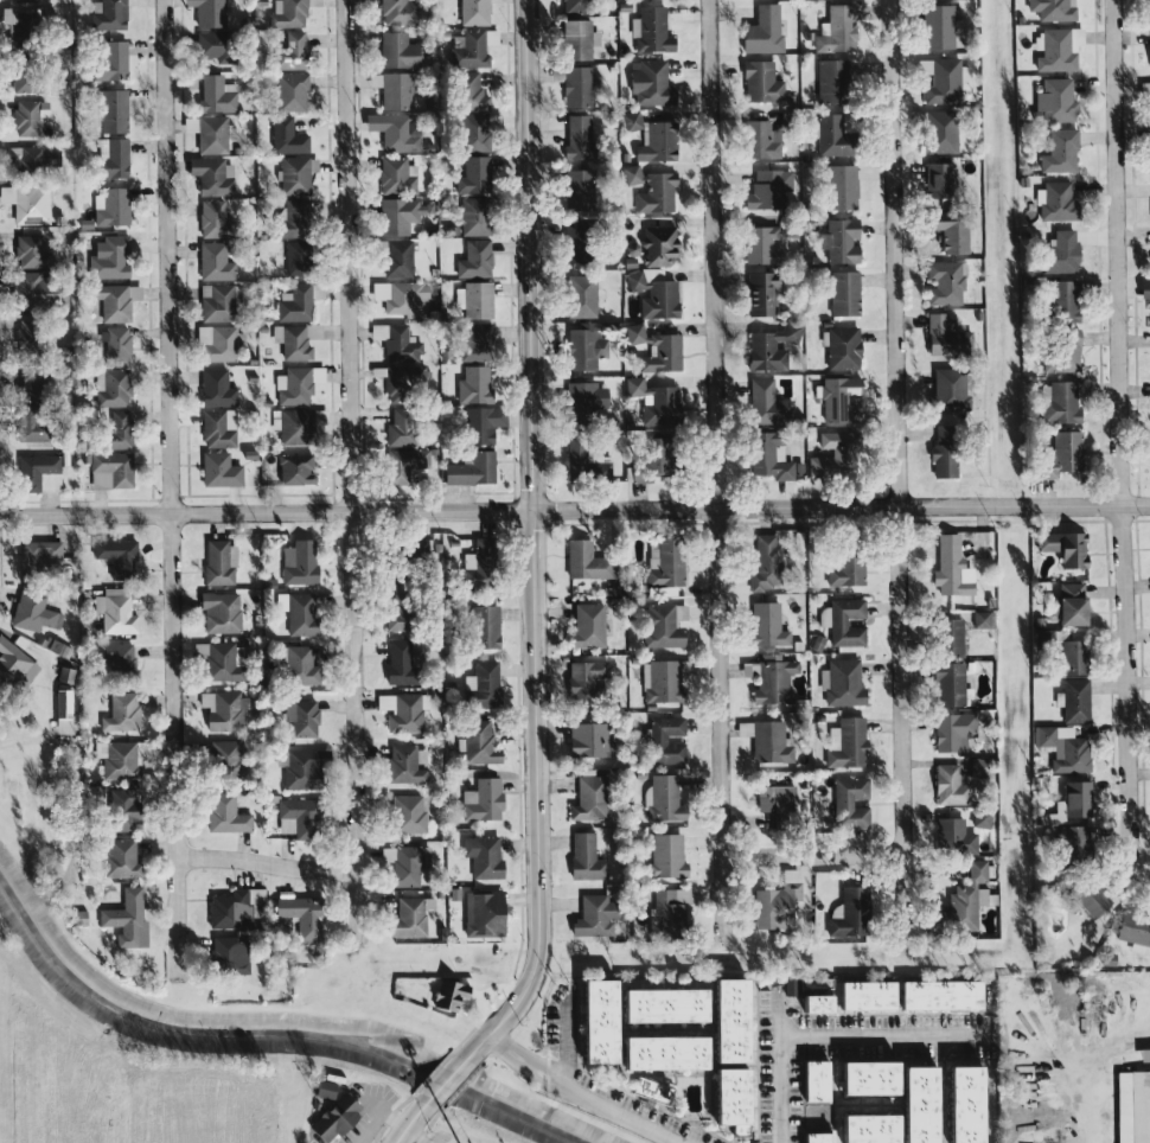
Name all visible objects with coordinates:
building: (20, 0)
building: (574, 6)
building: (1052, 8)
building: (1148, 8)
building: (397, 11)
building: (205, 12)
building: (288, 12)
building: (471, 12)
building: (106, 14)
building: (12, 23)
building: (935, 25)
building: (837, 27)
building: (649, 30)
building: (761, 30)
building: (574, 39)
building: (209, 44)
building: (469, 46)
building: (1149, 46)
building: (391, 49)
building: (287, 51)
building: (108, 62)
building: (830, 79)
building: (939, 81)
building: (647, 82)
building: (759, 82)
building: (575, 85)
building: (391, 89)
building: (466, 90)
building: (289, 91)
building: (1145, 91)
building: (216, 94)
building: (1054, 100)
building: (110, 110)
building: (26, 115)
building: (937, 130)
building: (206, 132)
building: (471, 132)
building: (829, 133)
building: (397, 134)
building: (285, 136)
building: (575, 136)
building: (759, 139)
building: (654, 142)
building: (1149, 147)
building: (1058, 151)
building: (30, 157)
building: (109, 157)
building: (294, 173)
building: (473, 174)
building: (209, 175)
building: (395, 175)
building: (934, 180)
building: (838, 186)
building: (650, 189)
building: (767, 189)
building: (574, 190)
building: (1053, 200)
building: (28, 204)
building: (109, 206)
building: (395, 215)
building: (472, 216)
building: (290, 217)
building: (211, 218)
building: (946, 230)
building: (838, 240)
building: (762, 243)
building: (573, 245)
building: (657, 245)
building: (26, 250)
building: (1058, 253)
building: (394, 256)
building: (294, 257)
building: (108, 258)
building: (472, 258)
building: (213, 260)
building: (944, 281)
building: (1143, 288)
building: (36, 292)
building: (759, 293)
building: (843, 293)
building: (652, 294)
building: (579, 295)
building: (404, 296)
building: (472, 299)
building: (113, 300)
building: (1060, 300)
building: (216, 301)
building: (294, 302)
building: (376, 331)
building: (943, 337)
building: (294, 338)
building: (472, 340)
building: (216, 341)
building: (113, 343)
building: (398, 344)
building: (582, 347)
building: (768, 347)
building: (842, 347)
building: (654, 349)
building: (1060, 350)
building: (401, 377)
building: (471, 384)
building: (292, 385)
building: (109, 387)
building: (215, 388)
building: (837, 397)
building: (653, 401)
building: (579, 402)
building: (1055, 402)
building: (766, 403)
building: (478, 423)
building: (295, 426)
building: (28, 427)
building: (397, 427)
building: (216, 428)
building: (115, 430)
road: (1122, 439)
building: (831, 453)
building: (1056, 455)
building: (764, 456)
building: (651, 460)
building: (581, 461)
building: (402, 464)
road: (897, 464)
road: (718, 467)
building: (293, 468)
building: (468, 468)
building: (108, 470)
building: (217, 470)
road: (349, 470)
building: (36, 473)
road: (167, 489)
road: (574, 510)
road: (529, 542)
building: (417, 545)
building: (1062, 548)
building: (34, 555)
building: (115, 555)
building: (475, 561)
building: (218, 562)
building: (299, 562)
building: (762, 562)
building: (583, 563)
building: (662, 566)
building: (950, 568)
building: (845, 570)
building: (1065, 605)
building: (114, 611)
building: (218, 611)
building: (31, 612)
building: (299, 613)
building: (394, 617)
building: (978, 619)
building: (767, 622)
building: (662, 624)
building: (483, 626)
building: (584, 626)
building: (1042, 636)
building: (946, 638)
building: (197, 650)
building: (1068, 658)
building: (115, 659)
building: (219, 662)
building: (397, 662)
building: (12, 663)
building: (295, 664)
building: (768, 679)
building: (658, 681)
building: (580, 682)
building: (841, 682)
building: (481, 685)
building: (948, 685)
building: (1073, 700)
building: (221, 709)
building: (62, 710)
building: (400, 711)
building: (120, 714)
building: (299, 717)
building: (950, 729)
building: (1042, 735)
building: (586, 739)
building: (664, 740)
building: (764, 740)
building: (475, 742)
building: (845, 742)
building: (1069, 752)
building: (115, 758)
building: (222, 760)
building: (403, 764)
building: (301, 767)
building: (977, 767)
building: (946, 784)
building: (587, 798)
building: (662, 798)
building: (773, 798)
building: (481, 799)
building: (848, 802)
building: (1067, 803)
building: (121, 809)
building: (224, 813)
building: (405, 813)
building: (295, 817)
building: (979, 817)
building: (952, 837)
building: (1071, 843)
road: (814, 854)
building: (481, 855)
building: (664, 856)
building: (119, 857)
building: (583, 857)
road: (262, 862)
building: (404, 864)
road: (1141, 877)
building: (966, 898)
building: (1087, 899)
building: (775, 901)
building: (230, 906)
building: (665, 909)
building: (298, 913)
building: (480, 913)
building: (849, 913)
building: (408, 915)
building: (590, 915)
building: (124, 917)
building: (1133, 931)
building: (225, 953)
building: (448, 994)
building: (864, 994)
building: (937, 994)
building: (810, 1002)
building: (657, 1003)
building: (590, 1019)
building: (723, 1019)
road: (824, 1034)
river: (268, 1037)
road: (517, 1046)
building: (657, 1051)
building: (1142, 1053)
road: (507, 1059)
building: (863, 1075)
building: (810, 1079)
road: (445, 1081)
road: (561, 1084)
building: (321, 1087)
building: (649, 1087)
road: (589, 1097)
building: (724, 1097)
building: (912, 1103)
building: (958, 1103)
road: (1091, 1105)
building: (1131, 1105)
building: (332, 1117)
road: (410, 1123)
building: (862, 1128)
road: (417, 1134)
building: (811, 1136)

